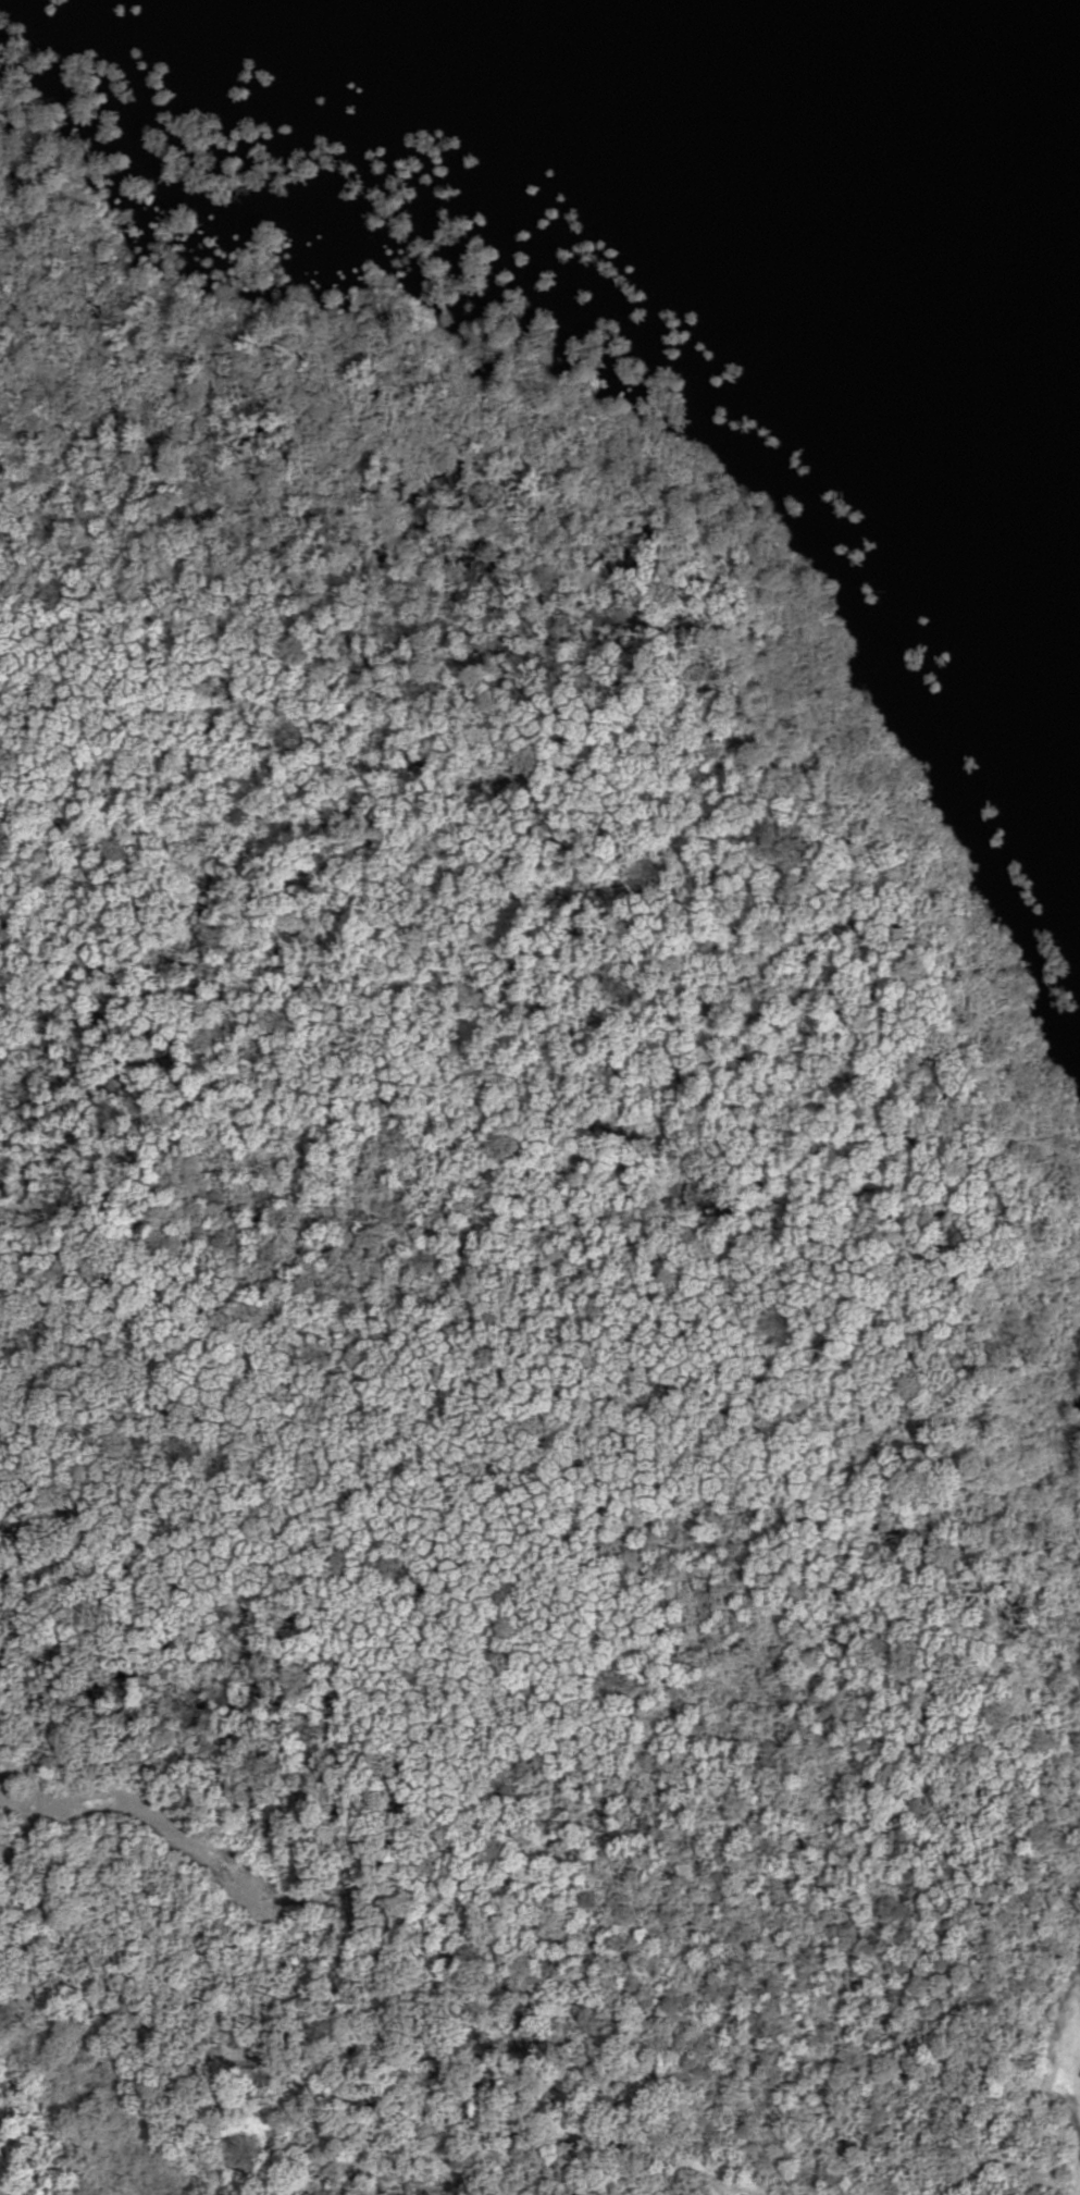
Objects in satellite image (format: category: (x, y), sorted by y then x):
road: (5, 2184)

